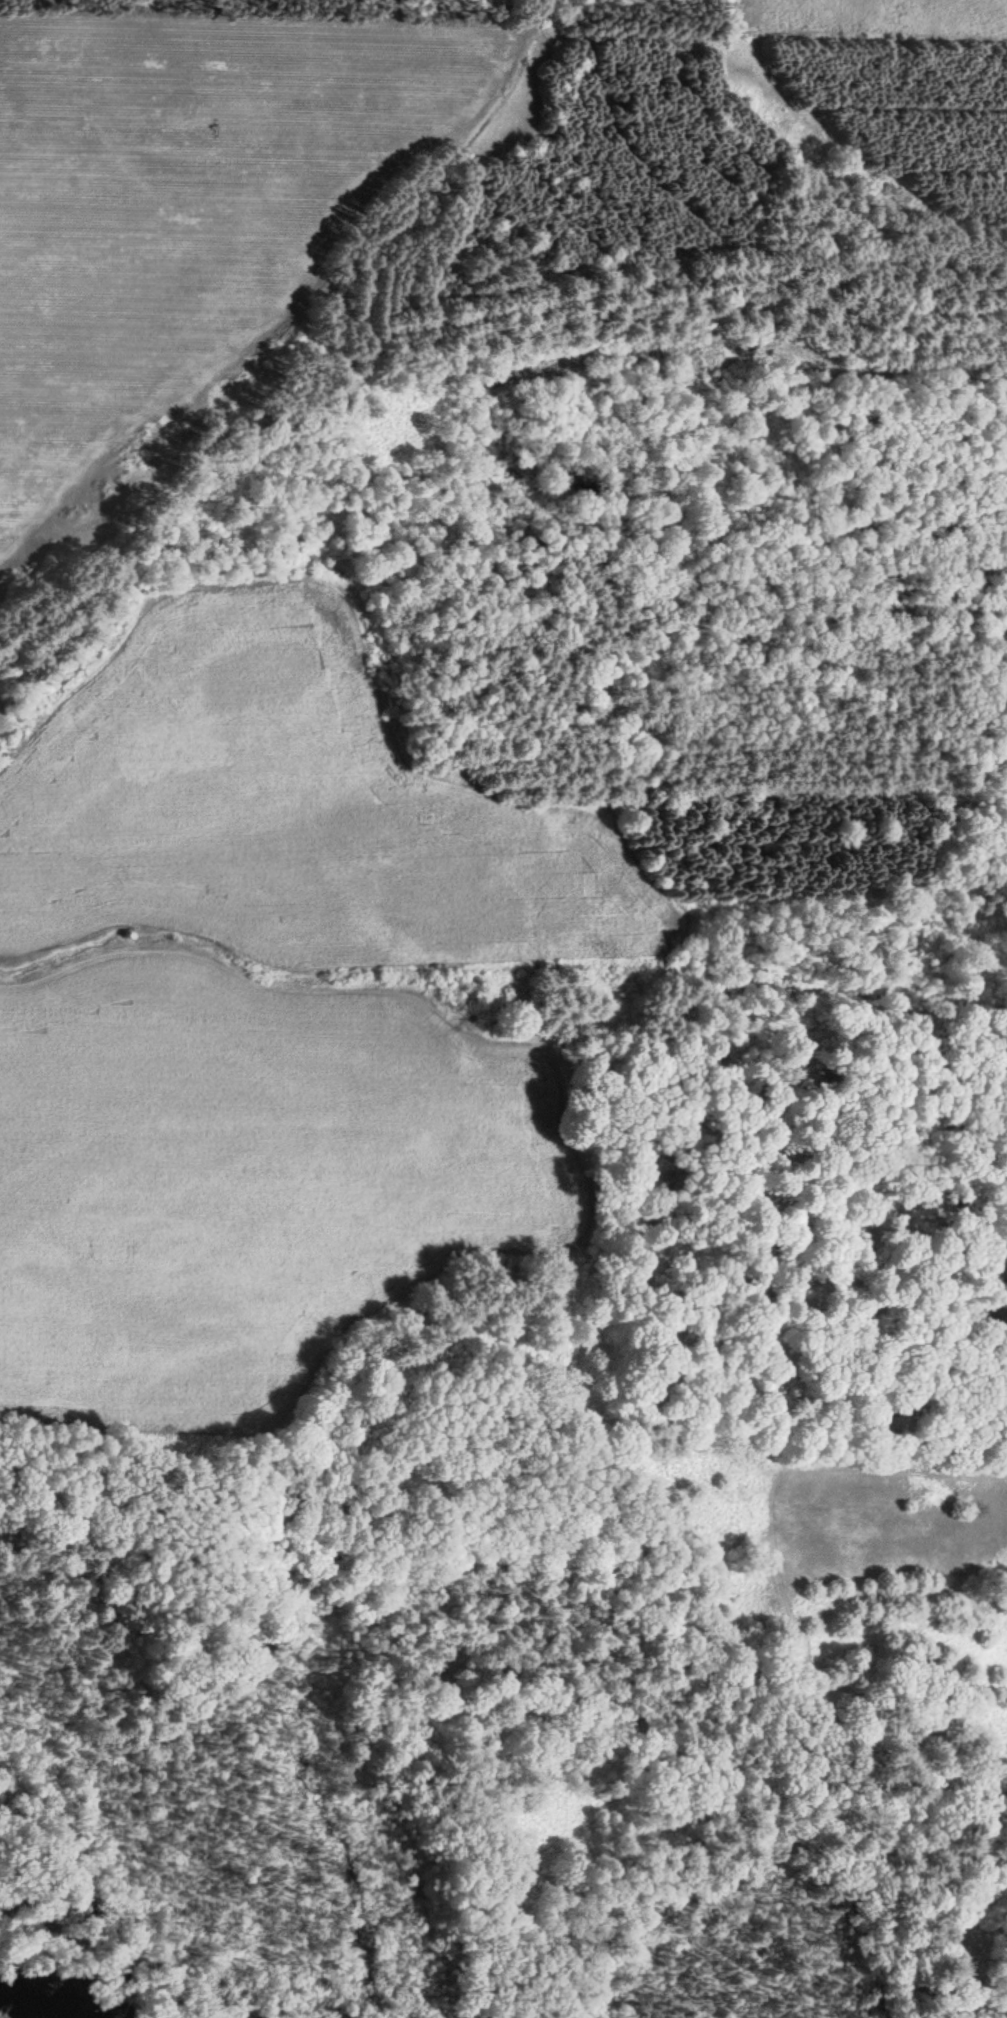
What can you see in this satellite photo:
river: (42, 2006)

